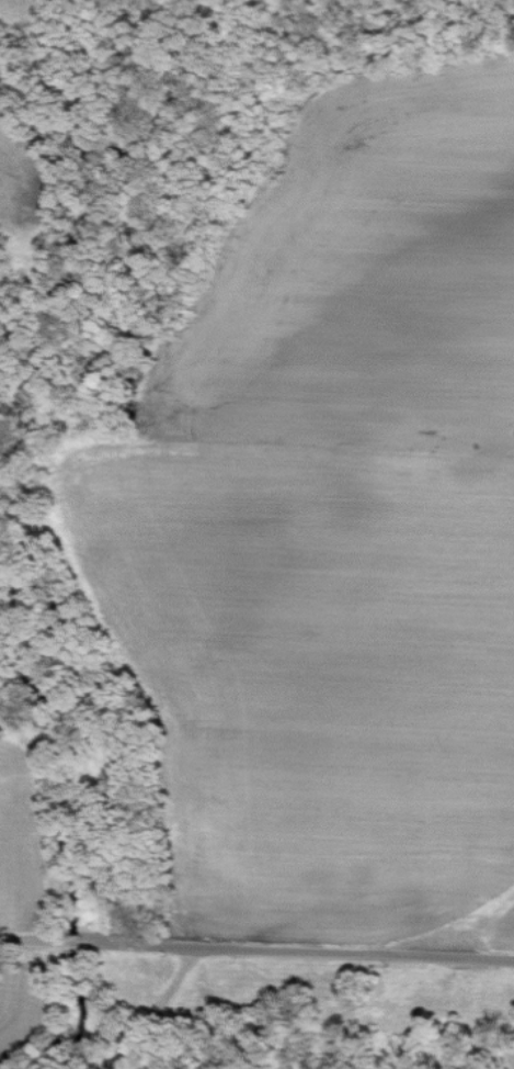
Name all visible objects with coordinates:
road: (256, 952)

